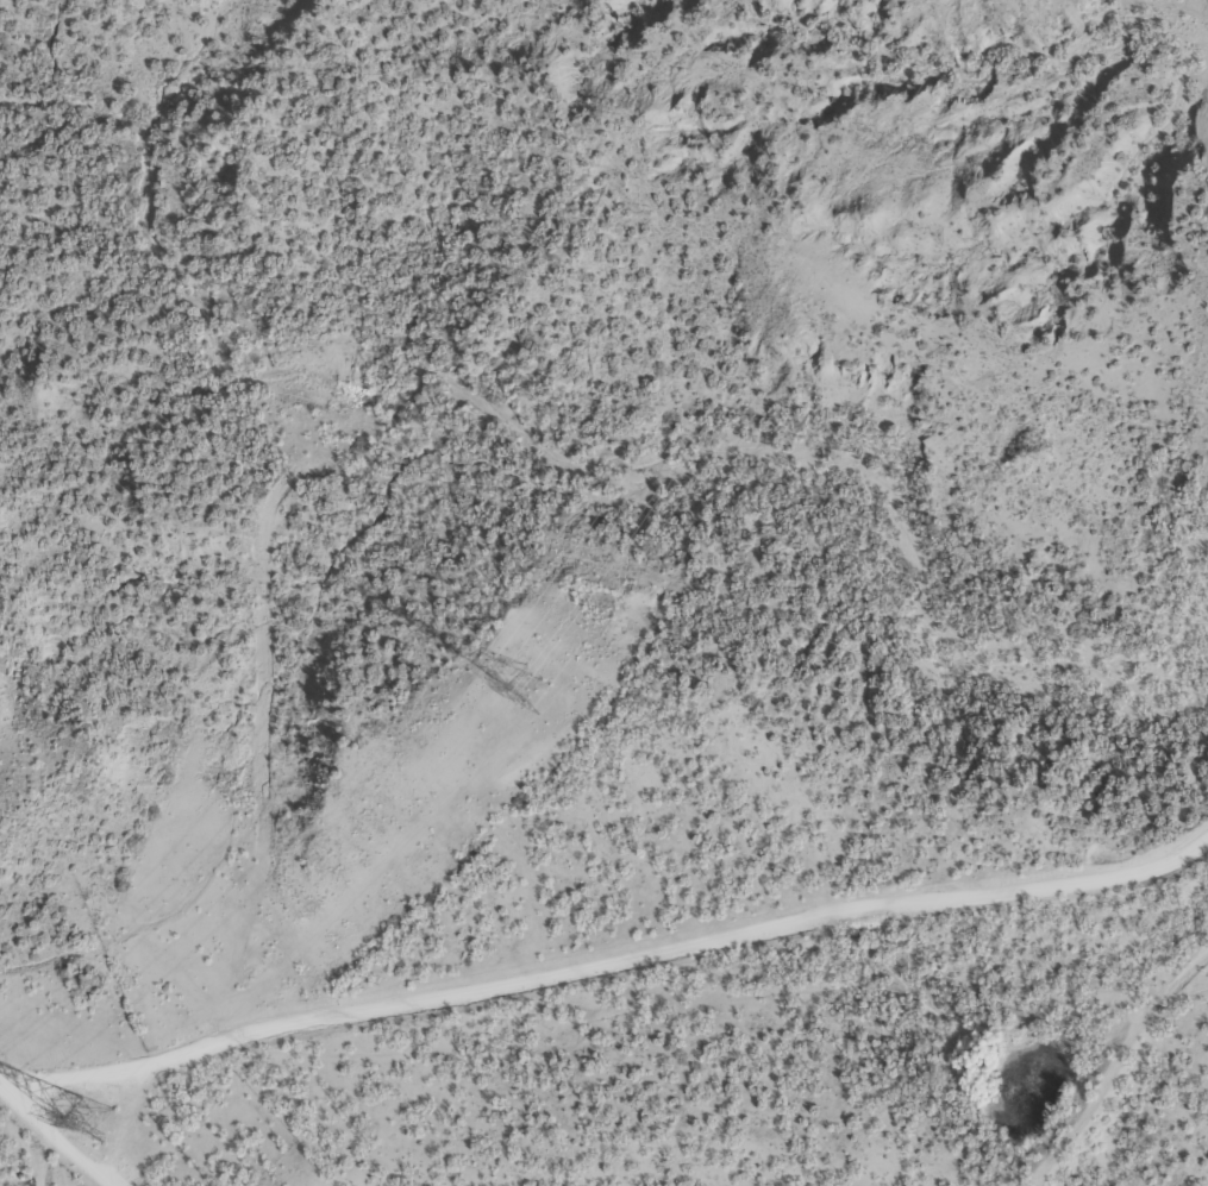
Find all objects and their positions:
power tower: (526, 686)
road: (608, 955)
power tower: (87, 1122)
road: (57, 1138)

